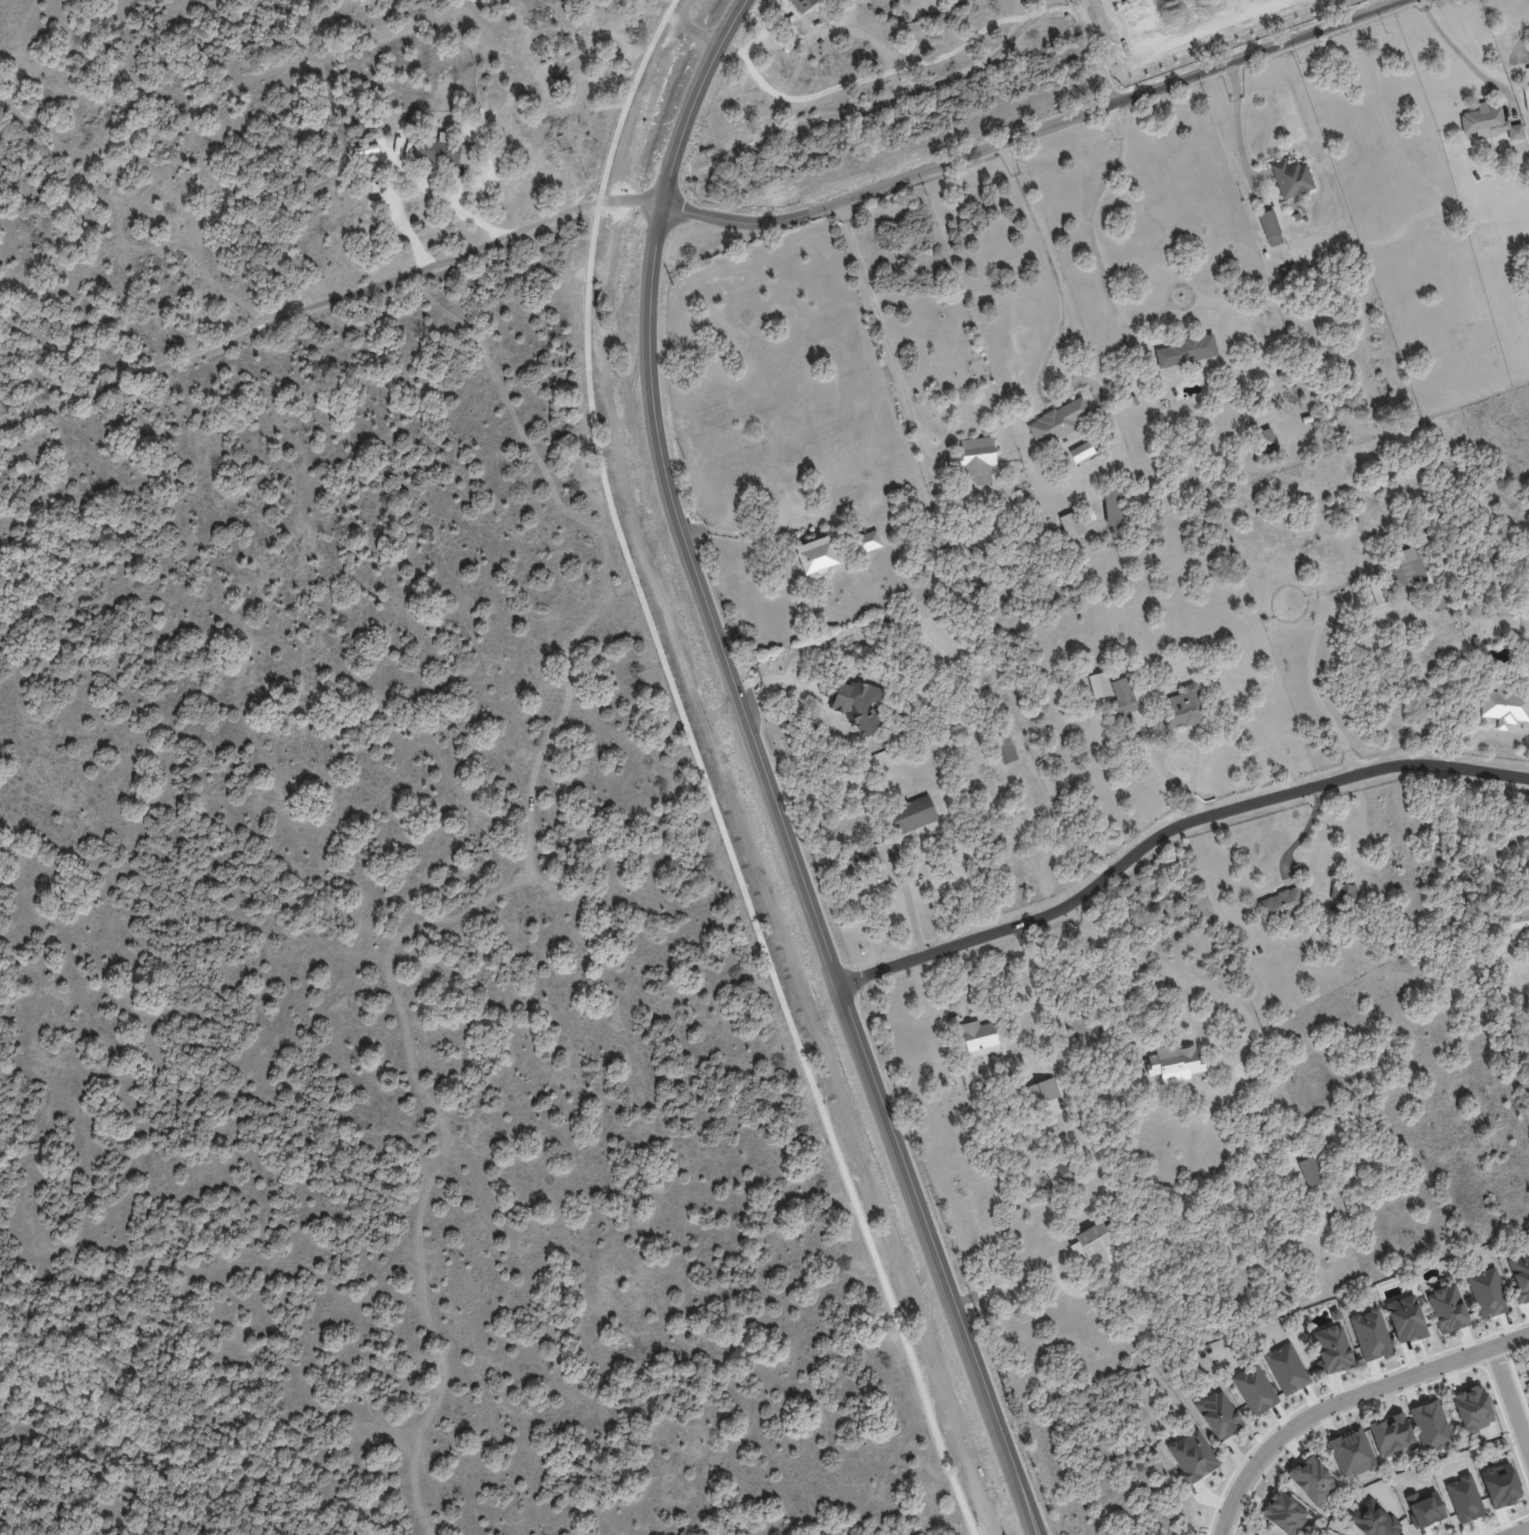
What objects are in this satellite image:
building: (621, 3)
building: (804, 5)
road: (1076, 8)
building: (714, 15)
road: (1520, 43)
road: (1467, 59)
building: (718, 70)
road: (871, 77)
road: (930, 86)
building: (1489, 122)
road: (1237, 131)
road: (1020, 136)
building: (437, 151)
building: (486, 175)
building: (1292, 178)
road: (1088, 214)
building: (1270, 227)
building: (1487, 236)
road: (1046, 250)
road: (310, 305)
road: (884, 330)
building: (1187, 349)
building: (1061, 422)
building: (1267, 440)
building: (978, 460)
building: (1113, 506)
building: (1074, 524)
road: (743, 534)
building: (872, 541)
building: (822, 557)
building: (1407, 571)
building: (1379, 594)
road: (781, 678)
building: (1099, 685)
building: (1155, 686)
building: (1123, 699)
building: (858, 703)
building: (1505, 704)
building: (1187, 707)
building: (1009, 747)
road: (1158, 750)
building: (995, 763)
road: (766, 771)
building: (917, 814)
road: (1171, 828)
building: (889, 848)
building: (872, 853)
building: (1347, 891)
building: (1284, 904)
road: (914, 910)
building: (1518, 922)
building: (1263, 950)
building: (1402, 960)
road: (1223, 995)
building: (1022, 1033)
building: (983, 1038)
building: (1177, 1064)
building: (1044, 1091)
building: (1069, 1172)
building: (1315, 1172)
building: (1335, 1213)
building: (1095, 1239)
building: (1520, 1276)
road: (1014, 1279)
building: (1232, 1284)
building: (1487, 1293)
building: (1447, 1308)
building: (1405, 1319)
building: (1370, 1334)
road: (1508, 1338)
building: (1333, 1348)
building: (1254, 1389)
road: (1508, 1403)
road: (1323, 1406)
building: (1473, 1408)
building: (1219, 1415)
building: (1430, 1426)
building: (1352, 1452)
building: (1192, 1456)
building: (1312, 1480)
building: (1500, 1485)
building: (1464, 1498)
building: (1425, 1508)
building: (1284, 1513)
building: (1373, 1519)
road: (1518, 1530)

